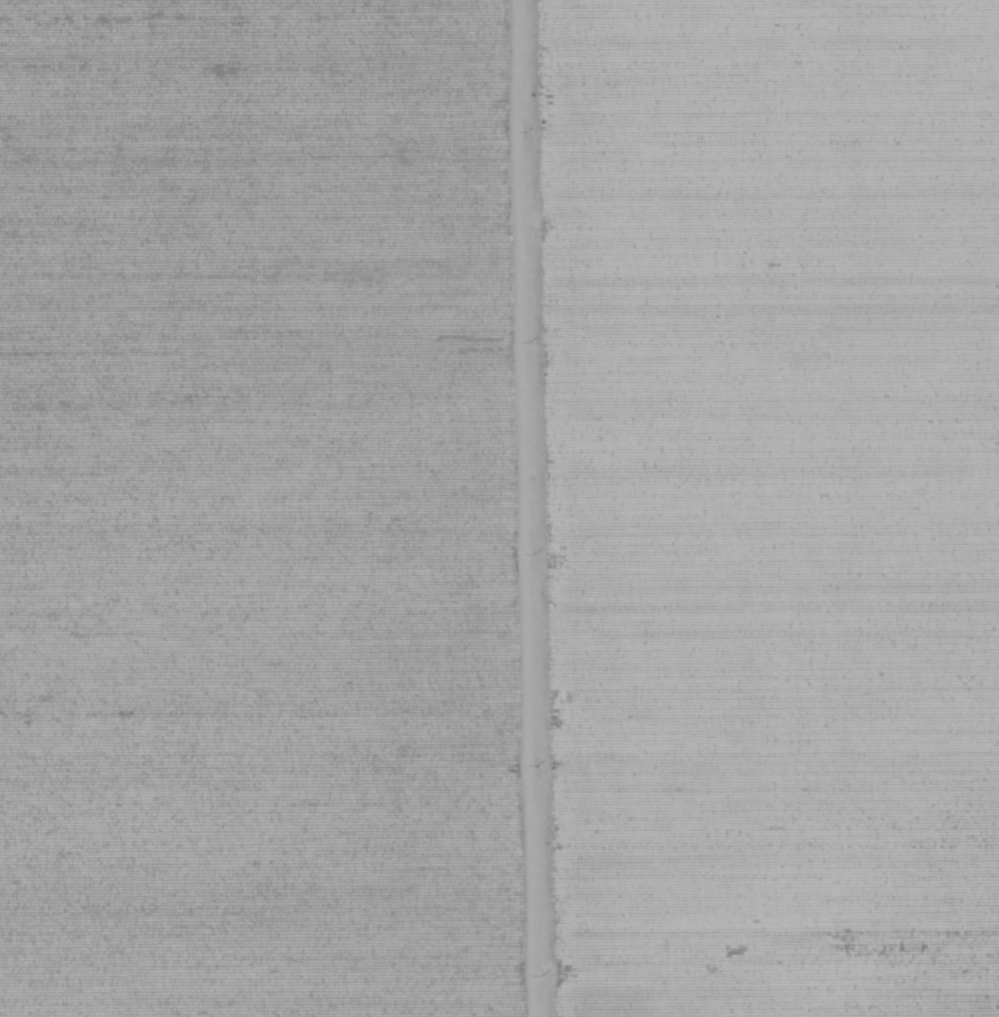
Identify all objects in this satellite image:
crop: (763, 505)
crop: (264, 511)

